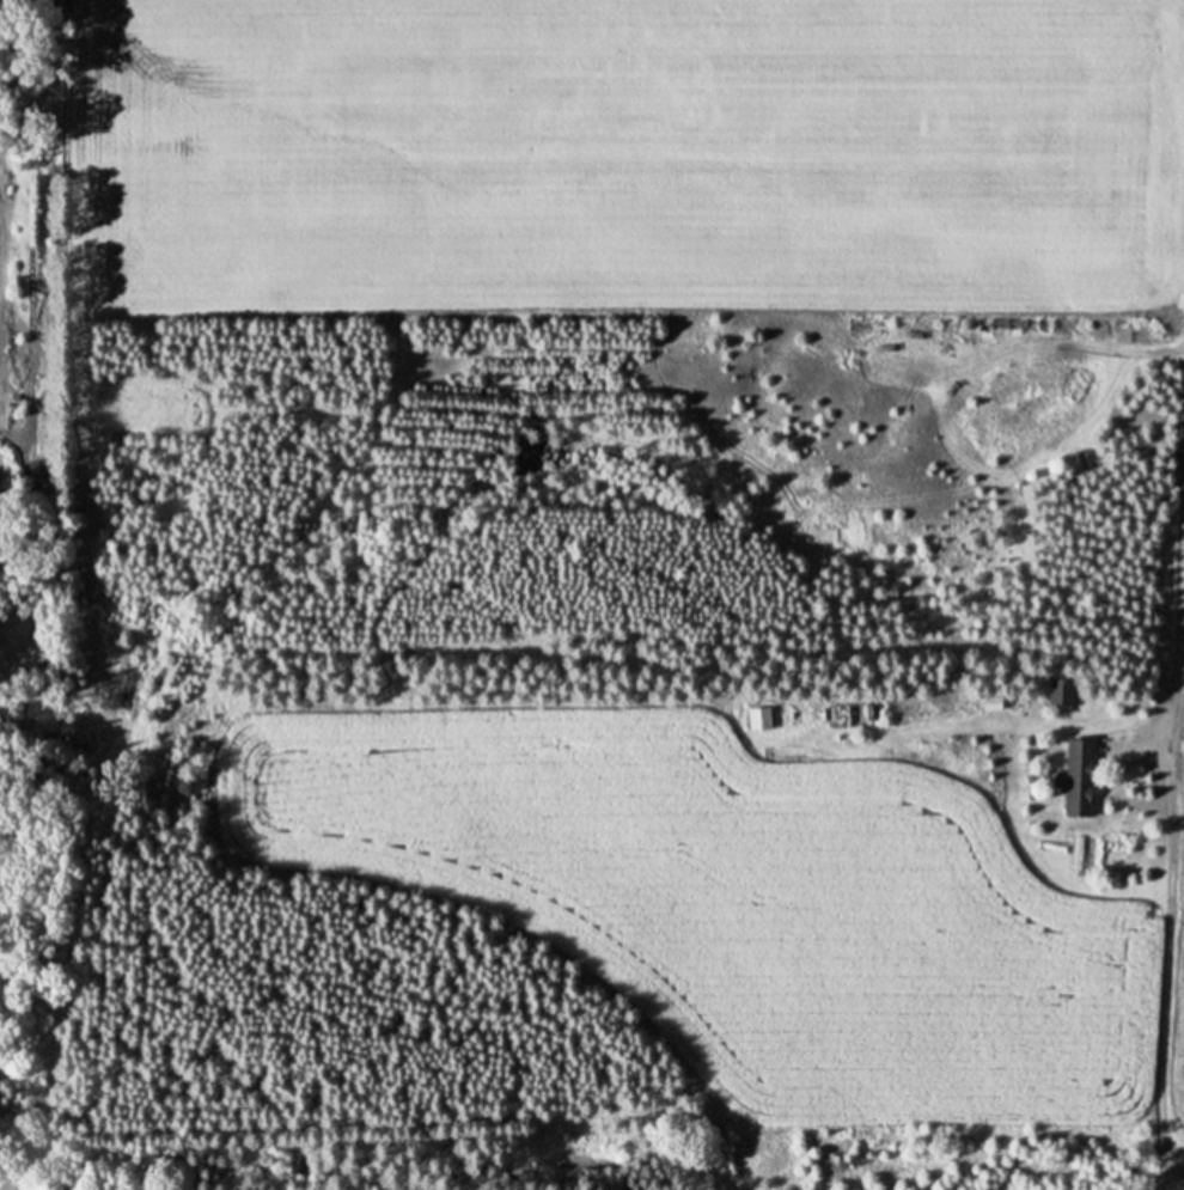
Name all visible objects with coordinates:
road: (1179, 655)
building: (1057, 691)
building: (988, 703)
building: (756, 718)
building: (1075, 777)

